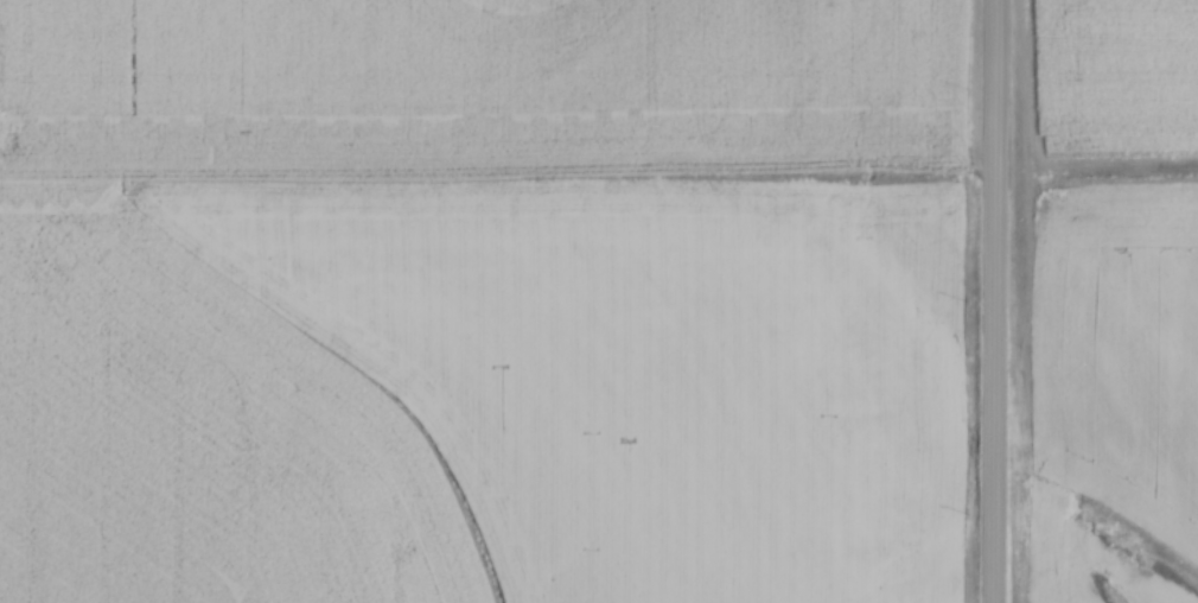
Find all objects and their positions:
road: (995, 301)

